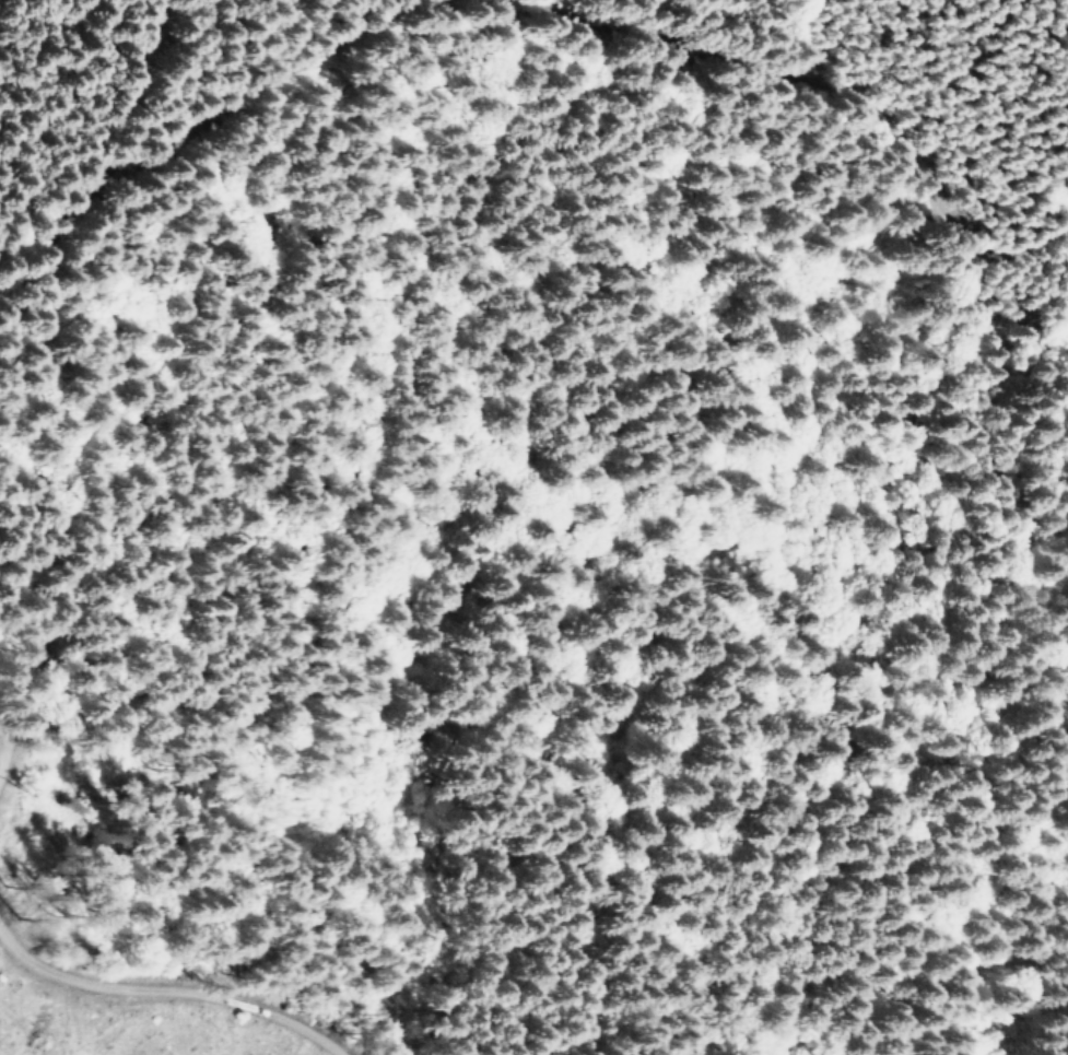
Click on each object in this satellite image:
road: (146, 74)
road: (850, 77)
road: (75, 552)
road: (24, 712)

